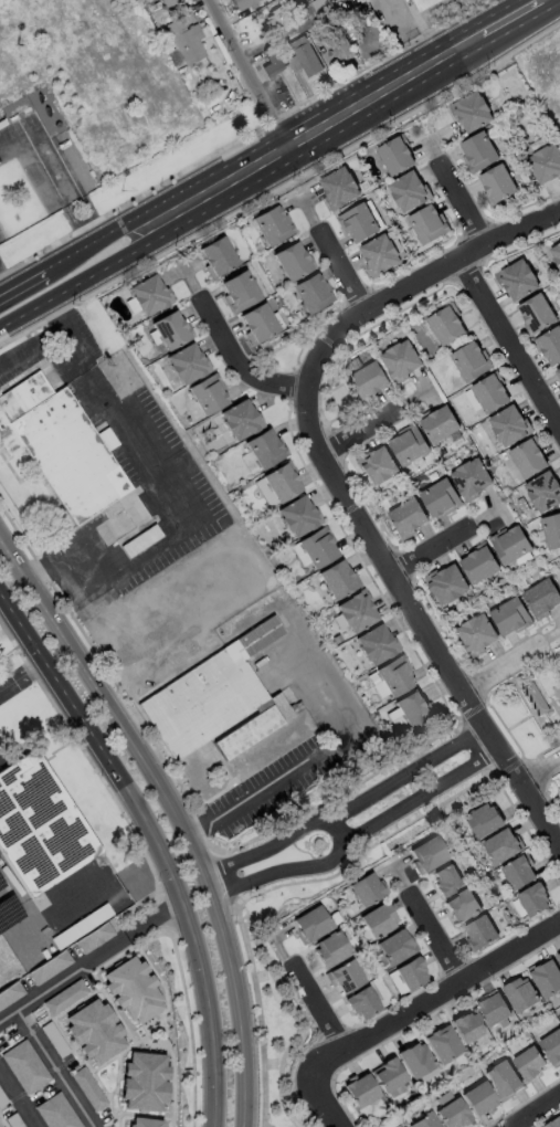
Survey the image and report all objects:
building: (166, 2)
building: (241, 3)
road: (403, 12)
road: (506, 15)
building: (275, 20)
building: (183, 41)
road: (429, 41)
building: (339, 46)
building: (302, 56)
building: (270, 63)
road: (249, 73)
building: (474, 112)
road: (321, 124)
building: (479, 152)
building: (394, 156)
building: (545, 165)
building: (499, 186)
building: (339, 189)
building: (410, 192)
road: (463, 202)
building: (359, 223)
building: (272, 224)
building: (429, 225)
road: (99, 236)
building: (557, 254)
building: (381, 256)
building: (218, 257)
road: (443, 257)
building: (293, 263)
road: (344, 271)
road: (86, 277)
building: (519, 281)
road: (21, 283)
building: (240, 293)
building: (148, 296)
building: (310, 296)
building: (538, 315)
building: (258, 325)
building: (446, 327)
building: (170, 333)
road: (297, 340)
road: (510, 340)
road: (73, 344)
building: (551, 348)
building: (402, 362)
road: (237, 364)
building: (472, 365)
building: (186, 366)
building: (558, 376)
building: (370, 381)
building: (492, 396)
building: (207, 398)
road: (336, 414)
building: (239, 421)
building: (441, 426)
building: (510, 429)
road: (360, 432)
building: (60, 446)
building: (409, 447)
building: (264, 450)
building: (528, 461)
building: (377, 468)
building: (473, 480)
road: (340, 485)
building: (282, 486)
building: (543, 494)
building: (441, 501)
building: (410, 519)
building: (297, 520)
building: (552, 533)
road: (181, 537)
building: (141, 540)
building: (513, 546)
road: (431, 548)
building: (317, 551)
building: (480, 567)
building: (559, 573)
building: (337, 581)
building: (450, 588)
building: (543, 599)
building: (355, 615)
building: (511, 619)
building: (477, 635)
building: (374, 649)
road: (503, 662)
road: (524, 672)
road: (22, 678)
building: (395, 680)
building: (536, 699)
building: (213, 709)
building: (414, 709)
road: (115, 710)
road: (532, 713)
road: (521, 720)
road: (515, 741)
road: (96, 744)
road: (446, 750)
road: (316, 768)
road: (459, 770)
road: (540, 770)
road: (545, 784)
road: (327, 802)
road: (436, 807)
building: (486, 820)
road: (308, 826)
building: (40, 828)
road: (340, 830)
building: (503, 847)
building: (429, 853)
road: (325, 862)
building: (520, 874)
road: (318, 878)
building: (447, 881)
building: (367, 891)
building: (536, 902)
building: (464, 906)
road: (152, 918)
building: (379, 923)
road: (49, 924)
building: (311, 925)
building: (480, 931)
road: (225, 934)
building: (92, 937)
road: (431, 939)
building: (395, 948)
building: (330, 950)
building: (559, 957)
building: (47, 967)
road: (62, 978)
building: (347, 978)
building: (405, 979)
building: (548, 980)
building: (130, 988)
building: (9, 992)
road: (435, 992)
building: (522, 996)
building: (63, 997)
building: (362, 1004)
road: (315, 1007)
road: (166, 1010)
road: (258, 1010)
building: (495, 1010)
road: (207, 1012)
road: (120, 1019)
building: (468, 1026)
building: (93, 1030)
park: (273, 1033)
building: (53, 1039)
building: (443, 1045)
building: (552, 1046)
road: (246, 1049)
road: (113, 1057)
building: (415, 1062)
building: (531, 1064)
building: (27, 1067)
road: (57, 1067)
building: (388, 1076)
building: (505, 1079)
building: (141, 1081)
building: (87, 1088)
building: (362, 1092)
road: (18, 1098)
building: (479, 1098)
road: (324, 1102)
building: (57, 1112)
parking lot: (9, 1113)
road: (537, 1113)
road: (115, 1114)
building: (452, 1114)
building: (424, 1121)
road: (116, 1123)
building: (144, 1123)
building: (554, 1124)

